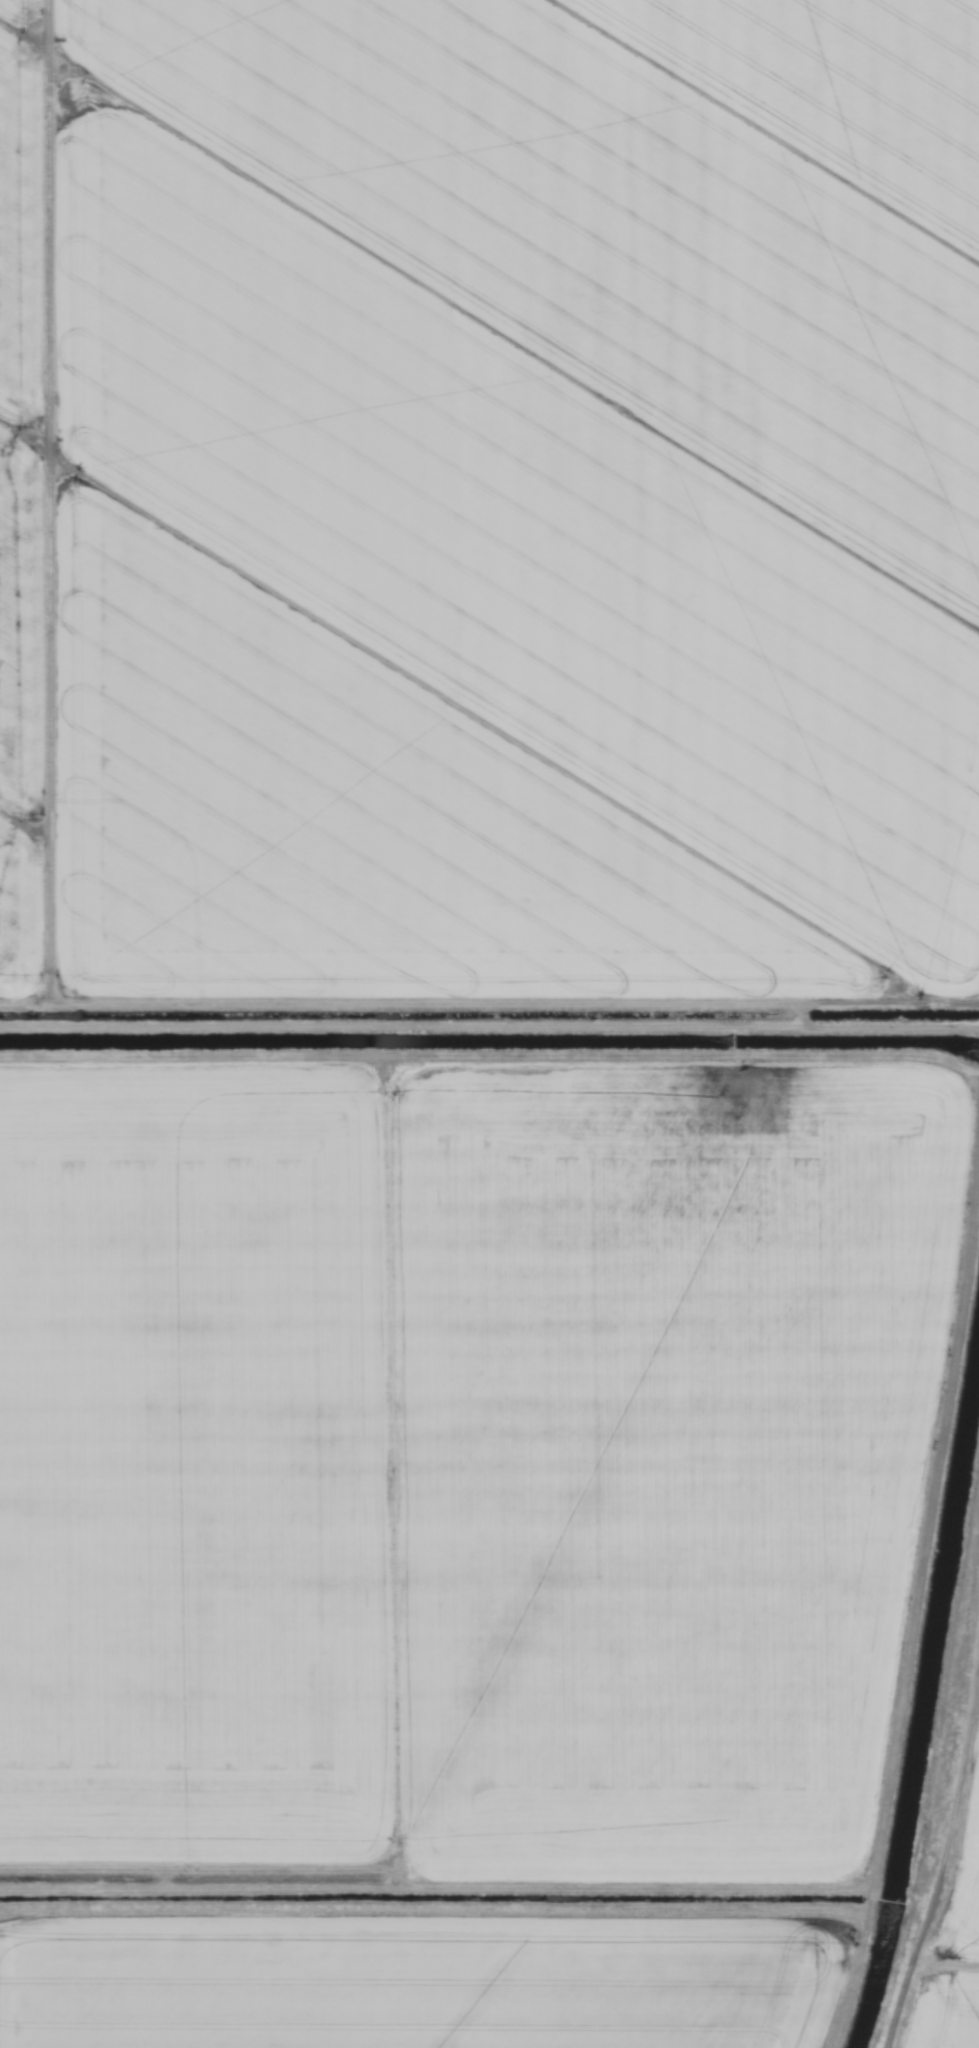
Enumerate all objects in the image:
road: (489, 1025)
road: (971, 2028)

